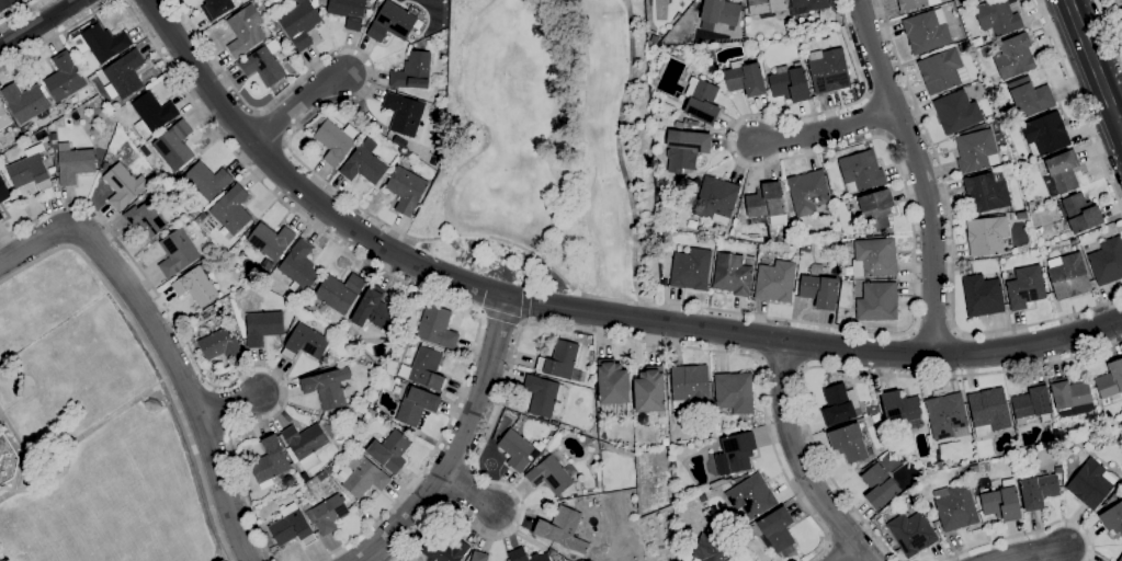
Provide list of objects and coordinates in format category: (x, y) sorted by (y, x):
building: (1117, 1)
building: (5, 3)
building: (812, 3)
building: (915, 3)
building: (766, 5)
building: (216, 8)
building: (349, 11)
building: (721, 11)
road: (20, 12)
building: (997, 16)
road: (36, 22)
building: (393, 22)
building: (787, 22)
building: (299, 23)
building: (800, 25)
road: (1111, 25)
building: (245, 31)
building: (927, 31)
road: (57, 34)
building: (655, 38)
building: (102, 42)
building: (963, 47)
building: (986, 51)
building: (1015, 55)
building: (440, 59)
building: (263, 66)
road: (1095, 66)
building: (828, 69)
building: (413, 70)
building: (942, 70)
building: (125, 72)
building: (64, 77)
building: (745, 78)
building: (790, 82)
building: (441, 93)
building: (1030, 96)
building: (702, 100)
building: (26, 102)
road: (330, 103)
road: (1079, 105)
road: (301, 110)
building: (956, 111)
building: (404, 113)
building: (152, 114)
building: (3, 117)
building: (685, 121)
road: (1120, 121)
building: (692, 122)
building: (679, 125)
road: (829, 128)
building: (1046, 134)
building: (333, 140)
building: (174, 145)
park: (549, 148)
building: (685, 148)
building: (975, 150)
building: (840, 152)
building: (2, 158)
building: (433, 159)
road: (620, 159)
building: (75, 162)
building: (364, 165)
building: (30, 169)
building: (52, 170)
building: (861, 171)
road: (922, 172)
building: (1062, 172)
building: (207, 181)
building: (123, 185)
building: (407, 188)
building: (3, 191)
building: (987, 191)
building: (808, 192)
building: (716, 199)
building: (767, 204)
building: (876, 208)
road: (909, 208)
building: (234, 210)
building: (1081, 213)
building: (1, 215)
building: (202, 215)
building: (1022, 215)
building: (145, 218)
building: (987, 236)
building: (271, 240)
building: (848, 244)
road: (951, 245)
building: (177, 252)
building: (874, 257)
building: (1107, 261)
building: (299, 267)
building: (691, 268)
building: (849, 270)
road: (533, 272)
building: (732, 274)
building: (1068, 275)
road: (398, 278)
building: (775, 279)
building: (196, 284)
building: (1025, 286)
building: (797, 287)
building: (819, 289)
building: (337, 294)
building: (982, 295)
building: (875, 299)
road: (523, 304)
road: (578, 308)
building: (374, 309)
road: (499, 318)
building: (263, 325)
building: (315, 325)
building: (437, 327)
road: (555, 328)
road: (932, 330)
building: (305, 342)
building: (219, 344)
road: (163, 345)
road: (151, 357)
building: (563, 362)
road: (781, 364)
building: (424, 367)
road: (853, 369)
road: (211, 380)
building: (1111, 380)
building: (612, 381)
building: (690, 385)
building: (328, 387)
building: (650, 389)
building: (734, 392)
building: (1069, 392)
building: (541, 394)
road: (228, 404)
building: (415, 404)
building: (839, 404)
building: (1032, 404)
building: (900, 408)
building: (872, 409)
building: (988, 411)
building: (355, 413)
building: (328, 414)
building: (948, 415)
building: (875, 416)
building: (565, 426)
building: (665, 440)
building: (850, 442)
building: (305, 444)
road: (458, 445)
building: (517, 449)
building: (738, 449)
building: (390, 450)
building: (7, 459)
road: (801, 459)
building: (270, 460)
building: (361, 474)
building: (551, 474)
building: (719, 482)
building: (1092, 482)
building: (880, 485)
building: (1039, 490)
road: (471, 495)
building: (750, 495)
building: (703, 496)
building: (1002, 503)
building: (955, 506)
building: (1113, 513)
building: (328, 514)
building: (292, 526)
building: (563, 529)
building: (777, 529)
building: (911, 533)
road: (1031, 533)
building: (444, 549)
building: (713, 549)
road: (1031, 552)
road: (850, 553)
building: (479, 556)
building: (526, 556)
building: (1120, 559)

